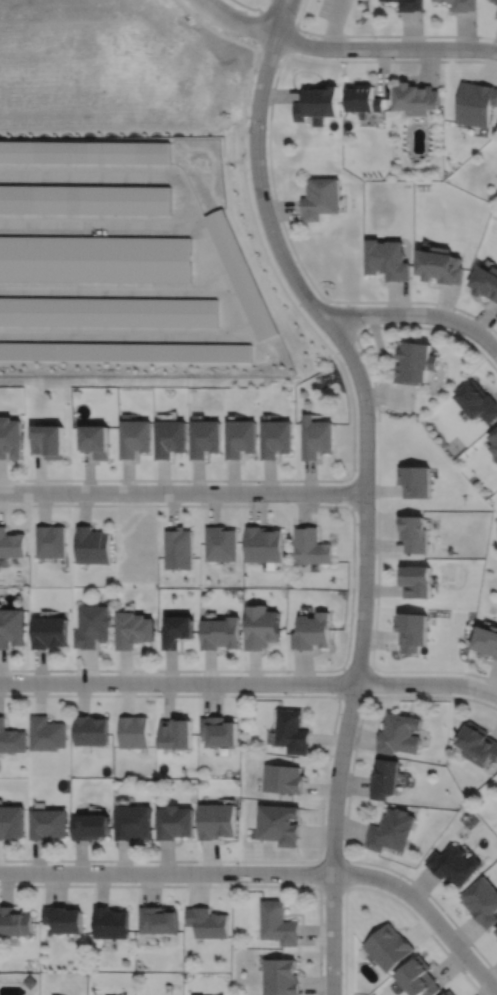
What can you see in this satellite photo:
building: (496, 0)
building: (410, 4)
building: (464, 4)
parking lot: (334, 9)
road: (300, 12)
building: (496, 14)
road: (277, 17)
road: (283, 17)
park: (334, 19)
road: (334, 23)
road: (394, 35)
road: (290, 40)
road: (345, 48)
building: (416, 98)
building: (363, 99)
building: (316, 102)
building: (476, 103)
building: (86, 150)
road: (270, 164)
building: (319, 197)
building: (85, 198)
building: (95, 258)
building: (386, 259)
building: (439, 264)
building: (242, 274)
building: (485, 281)
road: (291, 301)
road: (417, 314)
road: (340, 317)
building: (89, 325)
building: (414, 363)
building: (477, 402)
building: (133, 437)
building: (316, 437)
building: (10, 438)
building: (168, 438)
building: (203, 438)
building: (239, 438)
building: (275, 438)
building: (95, 440)
building: (48, 441)
building: (494, 443)
road: (178, 479)
building: (414, 481)
road: (378, 483)
road: (182, 492)
road: (352, 493)
road: (365, 500)
road: (19, 504)
building: (413, 534)
building: (50, 542)
building: (11, 544)
building: (220, 544)
building: (262, 545)
building: (92, 546)
building: (310, 547)
building: (177, 549)
building: (415, 583)
road: (351, 603)
building: (93, 627)
building: (11, 628)
building: (260, 628)
building: (133, 631)
building: (411, 632)
building: (49, 633)
building: (176, 633)
building: (312, 633)
building: (220, 634)
building: (486, 642)
road: (357, 668)
road: (341, 681)
road: (369, 681)
road: (249, 683)
road: (352, 695)
building: (92, 731)
building: (399, 732)
building: (133, 733)
building: (219, 733)
building: (292, 733)
building: (47, 735)
building: (176, 736)
building: (11, 739)
building: (477, 742)
road: (326, 769)
building: (384, 776)
building: (282, 780)
road: (346, 807)
building: (218, 819)
building: (12, 820)
building: (134, 821)
building: (176, 821)
building: (49, 822)
building: (280, 823)
building: (92, 824)
building: (391, 829)
road: (345, 859)
building: (454, 863)
road: (272, 873)
road: (214, 885)
road: (381, 892)
building: (482, 901)
building: (64, 918)
building: (158, 918)
building: (16, 920)
building: (207, 921)
building: (110, 922)
building: (278, 922)
building: (496, 930)
building: (389, 946)
building: (281, 976)
building: (419, 977)
building: (30, 981)
building: (450, 993)

